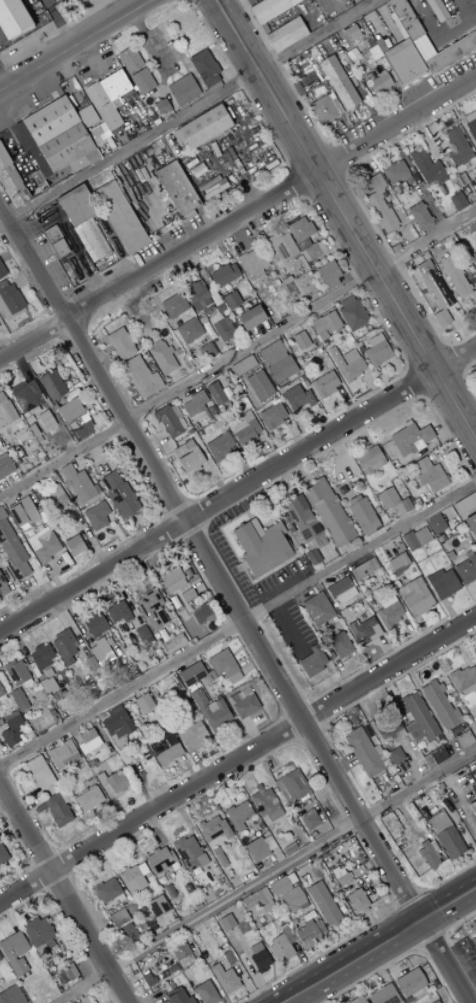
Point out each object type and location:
building: (78, 1)
road: (461, 8)
building: (268, 9)
building: (437, 10)
building: (11, 19)
road: (75, 19)
building: (404, 19)
road: (59, 23)
building: (286, 33)
building: (351, 33)
road: (439, 41)
road: (140, 44)
road: (75, 45)
building: (379, 45)
road: (154, 48)
building: (421, 48)
building: (450, 52)
building: (128, 58)
building: (402, 61)
road: (154, 66)
building: (204, 69)
road: (234, 69)
road: (170, 75)
road: (475, 76)
road: (284, 77)
road: (4, 78)
building: (141, 80)
road: (237, 80)
building: (337, 82)
building: (379, 83)
road: (354, 89)
building: (182, 90)
road: (292, 91)
road: (165, 94)
building: (108, 98)
building: (333, 103)
building: (161, 105)
road: (256, 107)
road: (190, 109)
building: (322, 110)
building: (48, 120)
road: (459, 122)
building: (203, 126)
building: (471, 128)
road: (146, 129)
road: (433, 130)
road: (422, 134)
building: (176, 136)
road: (16, 142)
road: (327, 146)
building: (457, 146)
building: (65, 147)
building: (7, 150)
building: (33, 151)
building: (3, 158)
road: (387, 158)
road: (403, 158)
building: (438, 158)
road: (308, 159)
building: (83, 160)
road: (333, 160)
road: (363, 160)
building: (425, 166)
road: (287, 170)
building: (62, 171)
building: (395, 171)
road: (342, 172)
building: (14, 177)
building: (49, 177)
building: (31, 179)
road: (296, 182)
road: (321, 182)
building: (475, 183)
building: (175, 187)
building: (211, 187)
building: (36, 188)
building: (395, 188)
road: (243, 191)
building: (24, 195)
road: (303, 196)
building: (457, 201)
building: (77, 205)
building: (379, 205)
road: (281, 209)
road: (365, 209)
road: (430, 209)
building: (187, 214)
road: (238, 216)
building: (419, 216)
building: (118, 217)
road: (344, 220)
road: (3, 222)
road: (257, 223)
road: (376, 228)
building: (471, 228)
building: (50, 234)
road: (69, 236)
road: (160, 238)
building: (91, 239)
building: (304, 239)
road: (228, 241)
road: (447, 241)
building: (269, 242)
road: (220, 246)
building: (284, 246)
road: (114, 247)
building: (394, 247)
building: (58, 248)
building: (250, 262)
road: (395, 263)
road: (285, 269)
road: (353, 270)
building: (475, 270)
building: (1, 272)
building: (223, 274)
building: (328, 274)
building: (456, 278)
road: (412, 283)
building: (195, 294)
building: (436, 294)
building: (230, 300)
building: (9, 301)
road: (241, 303)
building: (173, 305)
road: (370, 305)
building: (351, 313)
road: (312, 314)
road: (430, 314)
building: (249, 317)
building: (214, 318)
road: (262, 321)
building: (325, 322)
road: (122, 325)
building: (233, 326)
building: (222, 329)
building: (188, 330)
building: (343, 331)
building: (321, 335)
road: (454, 338)
building: (300, 340)
building: (374, 340)
building: (155, 342)
building: (120, 343)
road: (445, 346)
building: (169, 349)
road: (98, 350)
road: (340, 350)
building: (205, 351)
building: (270, 351)
road: (237, 353)
building: (377, 353)
building: (348, 356)
building: (161, 358)
building: (276, 359)
road: (104, 360)
road: (426, 360)
road: (322, 364)
building: (242, 365)
building: (345, 365)
building: (281, 368)
road: (406, 370)
road: (399, 372)
building: (140, 377)
road: (222, 377)
road: (114, 378)
building: (323, 384)
building: (51, 385)
building: (258, 386)
road: (372, 386)
road: (119, 388)
building: (233, 391)
road: (250, 392)
building: (215, 393)
building: (26, 395)
road: (125, 398)
building: (296, 398)
road: (346, 401)
building: (193, 403)
road: (284, 410)
building: (5, 411)
road: (251, 411)
building: (271, 415)
building: (75, 419)
building: (166, 421)
road: (262, 424)
building: (188, 431)
building: (245, 432)
road: (292, 433)
building: (409, 439)
building: (187, 443)
building: (218, 446)
road: (267, 449)
building: (178, 451)
building: (189, 460)
building: (368, 460)
road: (240, 463)
building: (5, 466)
road: (209, 467)
building: (428, 475)
building: (78, 485)
road: (237, 487)
building: (118, 494)
building: (54, 500)
building: (392, 502)
building: (464, 504)
building: (328, 512)
building: (22, 513)
building: (361, 515)
building: (95, 516)
building: (303, 522)
building: (435, 524)
building: (471, 525)
building: (415, 539)
building: (42, 545)
building: (73, 545)
building: (260, 546)
building: (12, 550)
building: (397, 563)
building: (362, 569)
building: (465, 570)
building: (171, 579)
building: (441, 584)
building: (2, 587)
building: (340, 590)
building: (414, 596)
building: (182, 597)
building: (385, 599)
road: (232, 606)
building: (151, 609)
building: (317, 609)
building: (117, 612)
building: (389, 614)
road: (237, 622)
building: (94, 625)
building: (363, 631)
building: (142, 635)
building: (339, 645)
building: (63, 646)
building: (100, 652)
building: (40, 656)
building: (312, 661)
building: (223, 666)
building: (15, 672)
building: (190, 674)
building: (463, 681)
building: (0, 693)
building: (18, 699)
building: (142, 703)
building: (242, 703)
building: (439, 706)
building: (210, 711)
building: (417, 718)
building: (115, 723)
building: (192, 736)
building: (87, 741)
building: (165, 751)
building: (364, 753)
building: (437, 755)
building: (61, 756)
building: (394, 756)
road: (237, 760)
building: (38, 772)
building: (114, 782)
building: (291, 785)
building: (87, 799)
building: (265, 804)
building: (472, 808)
building: (56, 810)
building: (237, 815)
building: (308, 820)
building: (212, 829)
building: (444, 835)
building: (255, 850)
building: (188, 853)
building: (428, 855)
building: (2, 856)
building: (158, 859)
building: (339, 875)
road: (264, 876)
building: (133, 878)
building: (278, 886)
building: (106, 890)
road: (65, 896)
building: (292, 900)
building: (256, 901)
building: (357, 902)
building: (322, 904)
building: (156, 906)
building: (117, 918)
building: (225, 922)
building: (309, 934)
building: (38, 935)
building: (473, 942)
building: (280, 946)
road: (381, 948)
building: (178, 951)
building: (13, 953)
building: (257, 957)
building: (0, 961)
building: (66, 972)
building: (224, 979)
building: (170, 982)
building: (410, 985)
building: (205, 993)
building: (11, 995)
building: (382, 995)
building: (178, 997)
building: (356, 1000)
building: (435, 1002)

